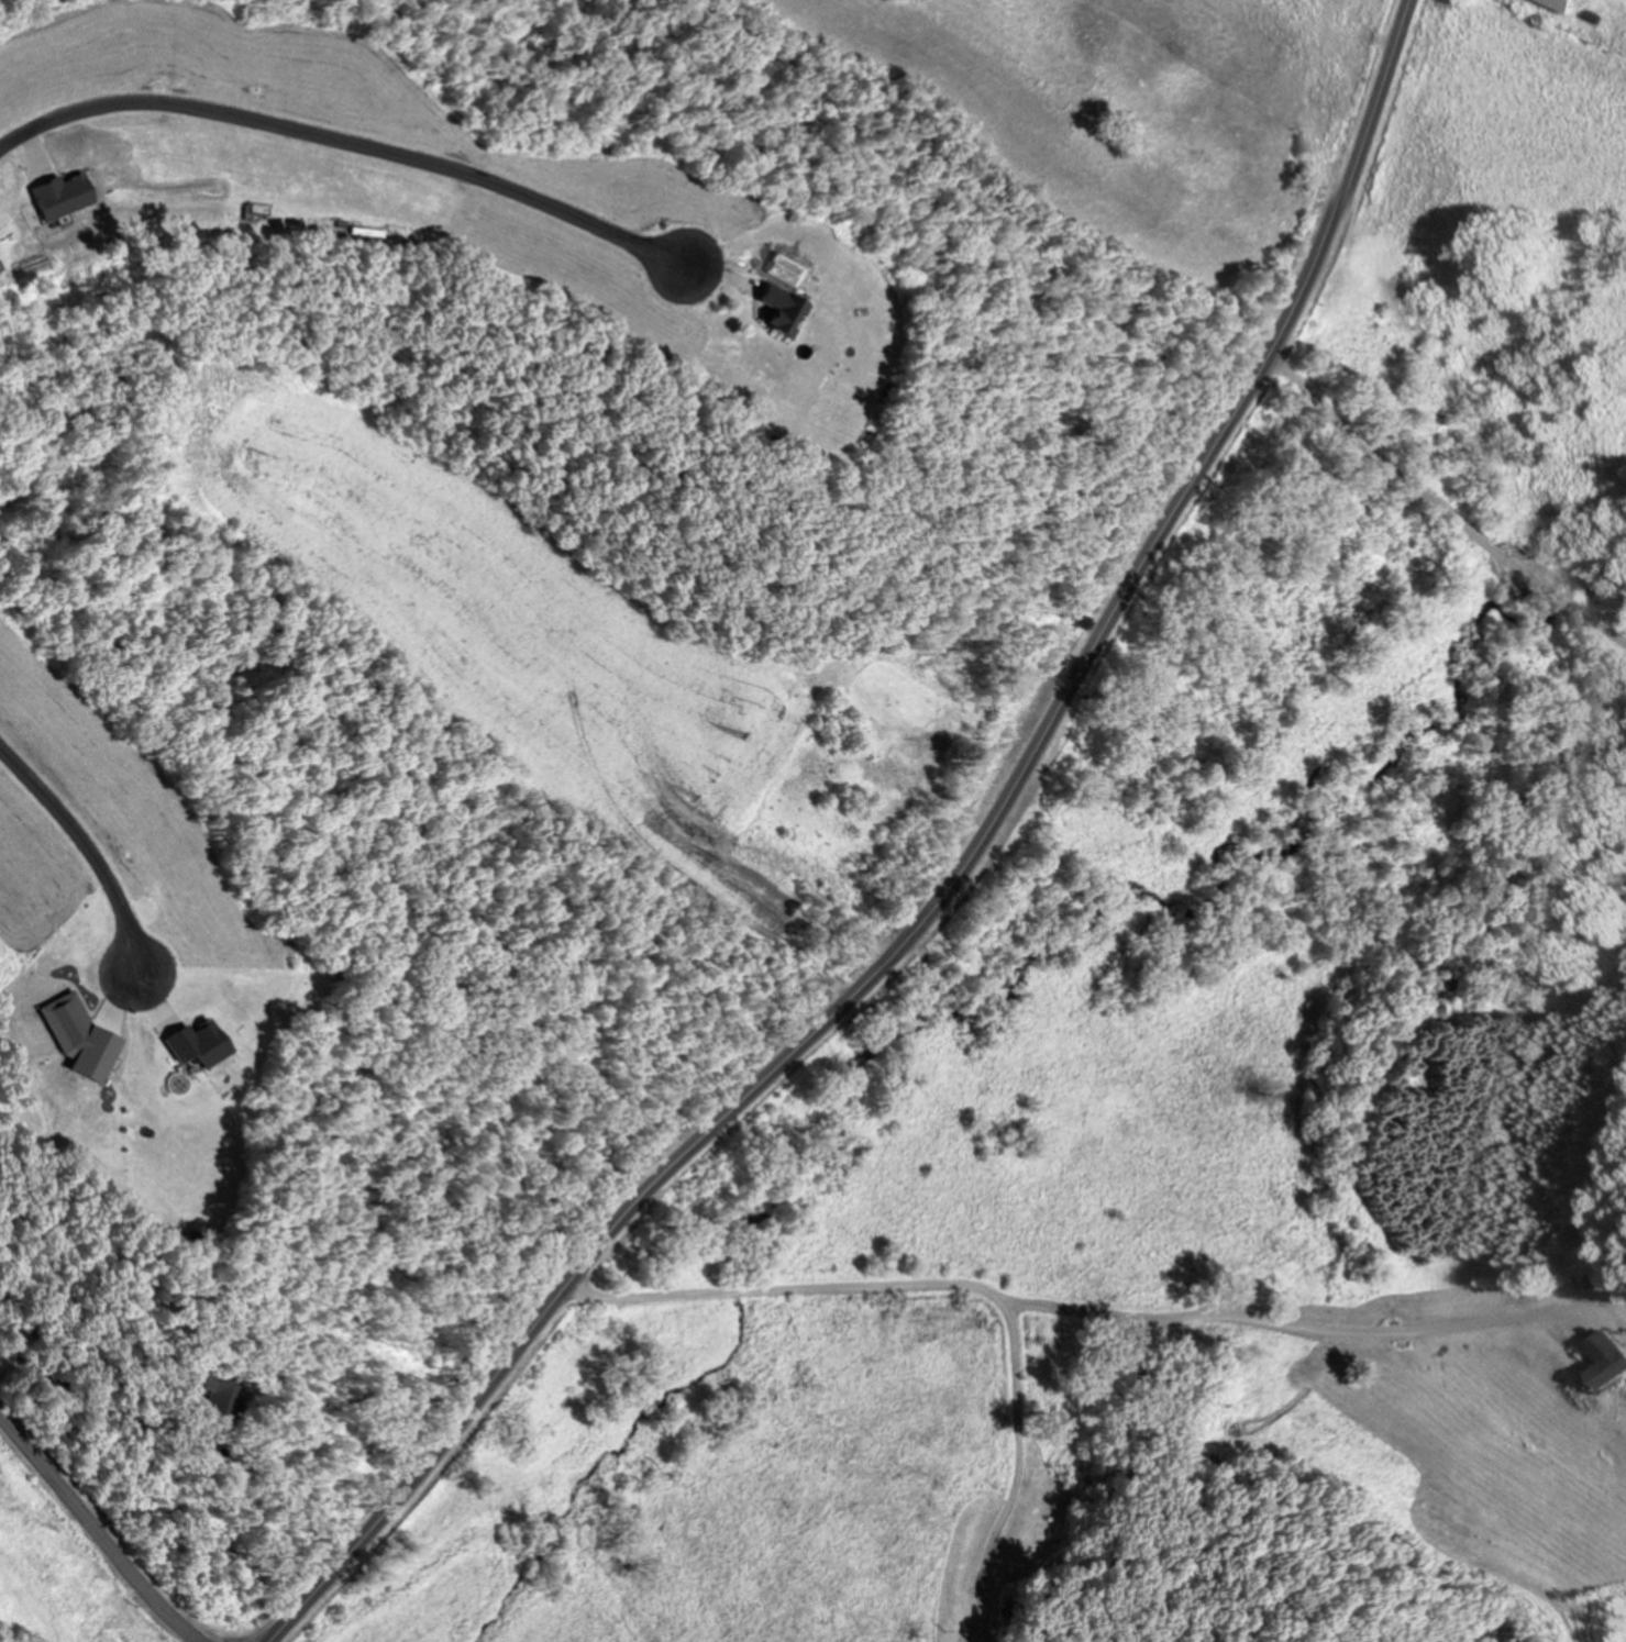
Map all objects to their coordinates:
road: (341, 137)
road: (1444, 512)
road: (82, 848)
road: (953, 896)
road: (964, 1280)
road: (179, 1375)
building: (201, 1375)
building: (252, 1432)
road: (98, 1528)

